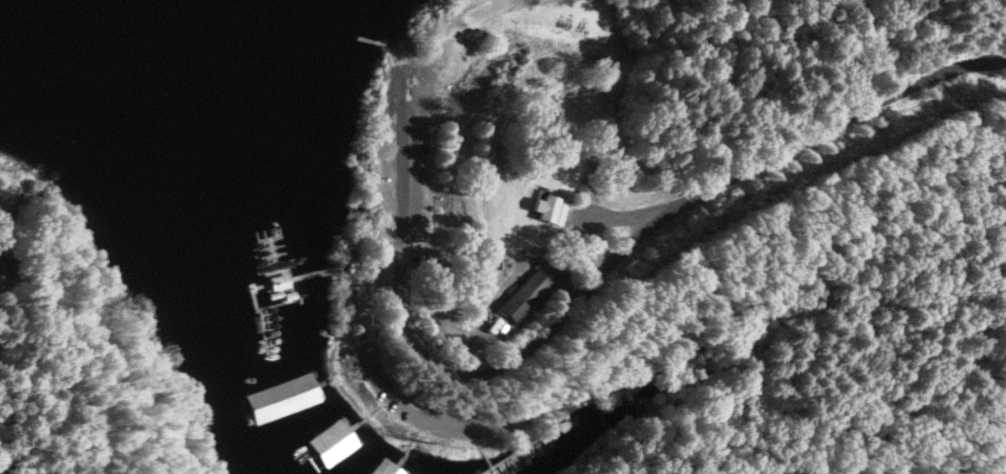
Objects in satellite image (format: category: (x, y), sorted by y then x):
parking lot: (519, 34)
road: (452, 40)
road: (405, 62)
building: (552, 210)
road: (580, 287)
building: (530, 292)
road: (835, 318)
road: (369, 360)
road: (918, 379)
building: (280, 396)
road: (60, 405)
building: (331, 443)
road: (863, 467)
building: (384, 468)

